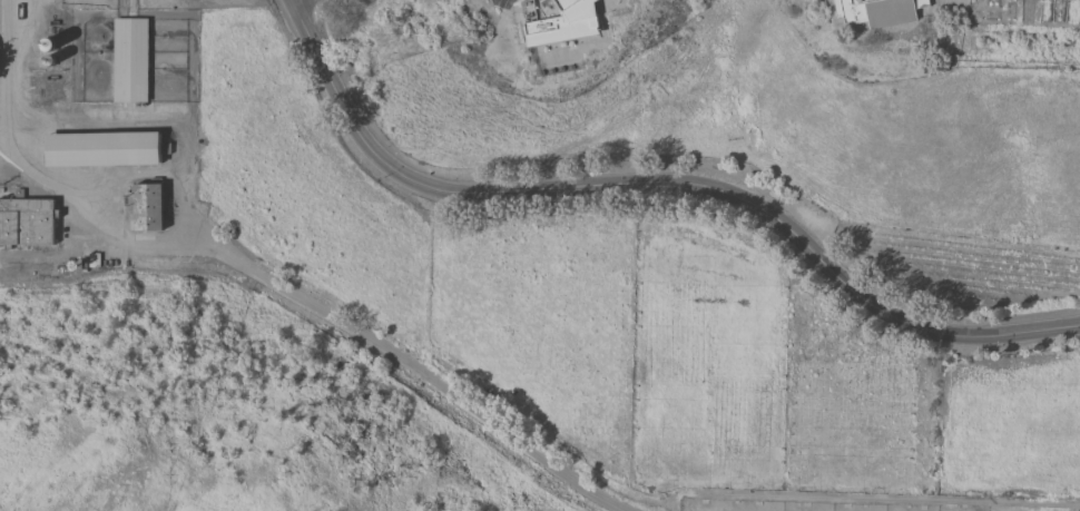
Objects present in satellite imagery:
road: (291, 1)
parking lot: (501, 3)
building: (878, 11)
building: (559, 21)
building: (130, 59)
street lamp: (316, 83)
road: (3, 90)
building: (105, 148)
street lamp: (382, 178)
road: (656, 183)
building: (147, 206)
building: (27, 220)
building: (92, 261)
crop: (965, 267)
road: (255, 273)
street lamp: (825, 283)
street lamp: (1064, 340)
street lamp: (941, 346)
street lamp: (999, 347)
road: (733, 495)

